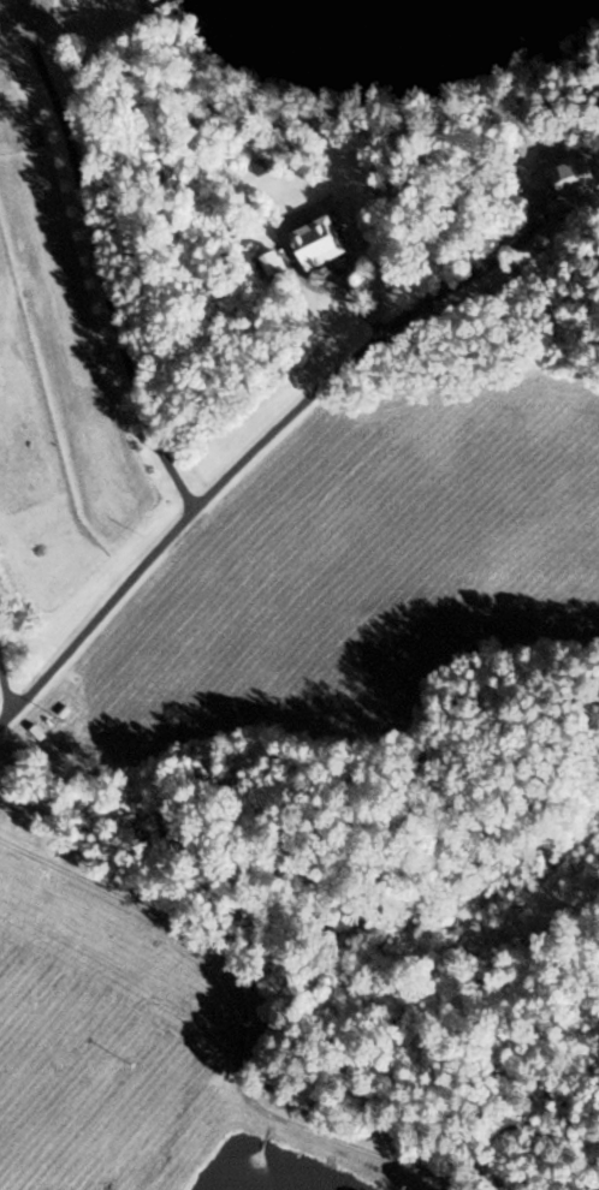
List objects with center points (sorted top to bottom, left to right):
building: (313, 244)
building: (554, 535)
building: (574, 571)
building: (575, 589)
building: (577, 606)
building: (561, 625)
building: (34, 733)

